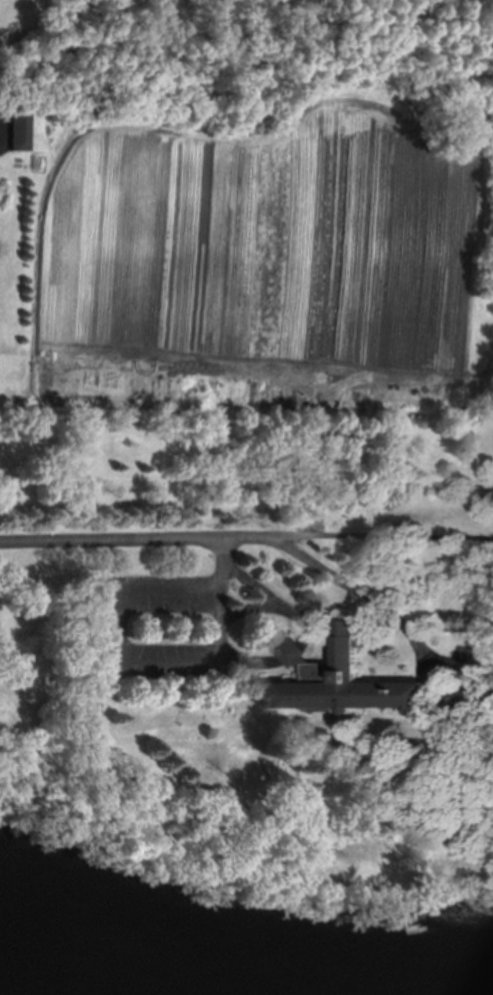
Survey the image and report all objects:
building: (20, 129)
crop: (262, 239)
road: (138, 537)
road: (385, 537)
road: (169, 597)
road: (221, 598)
road: (250, 607)
road: (388, 610)
road: (116, 629)
road: (305, 629)
road: (168, 661)
building: (339, 679)
park: (31, 696)
building: (470, 704)
road: (294, 768)
road: (31, 820)
road: (276, 866)
pier: (405, 924)

